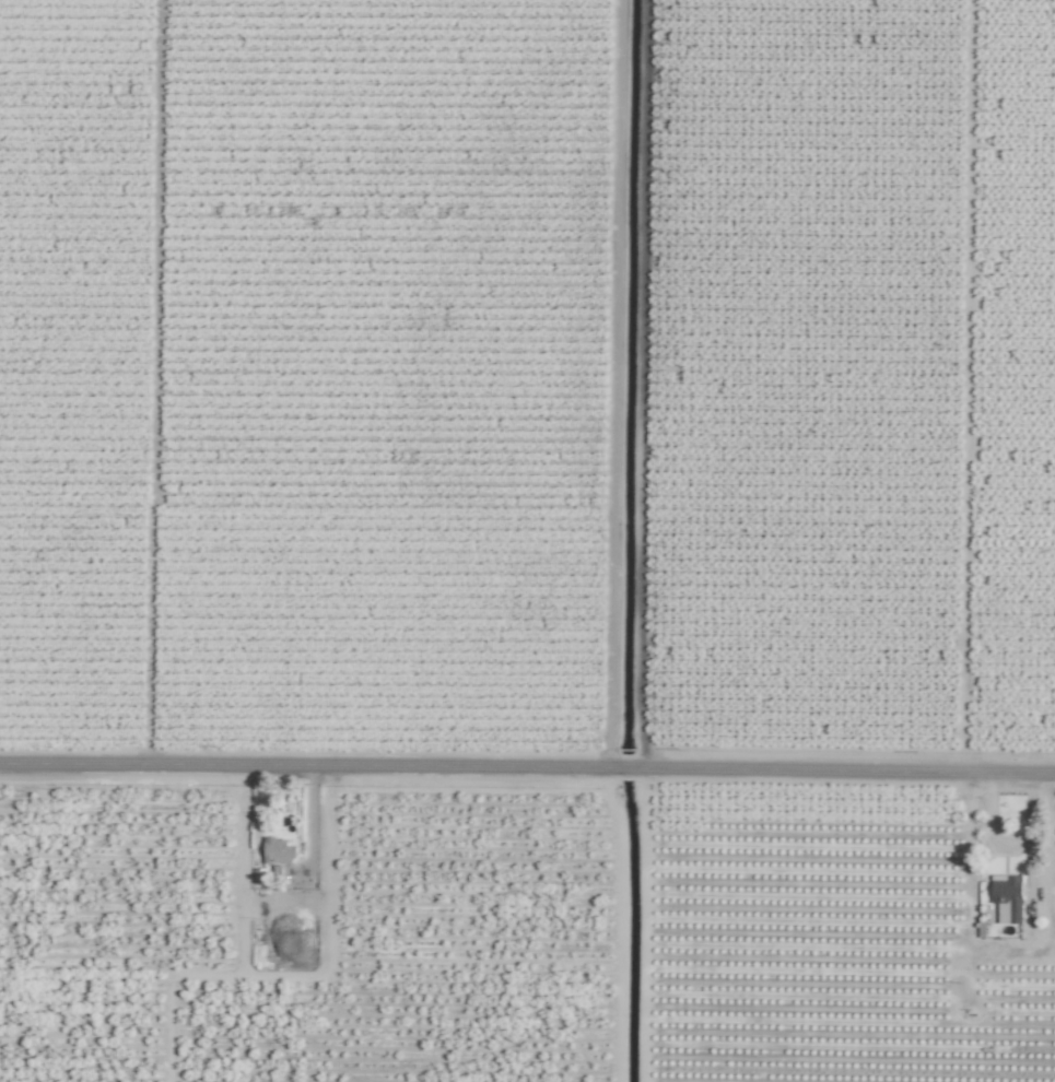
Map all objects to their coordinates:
road: (527, 767)
building: (277, 850)
building: (1006, 897)
road: (277, 899)

